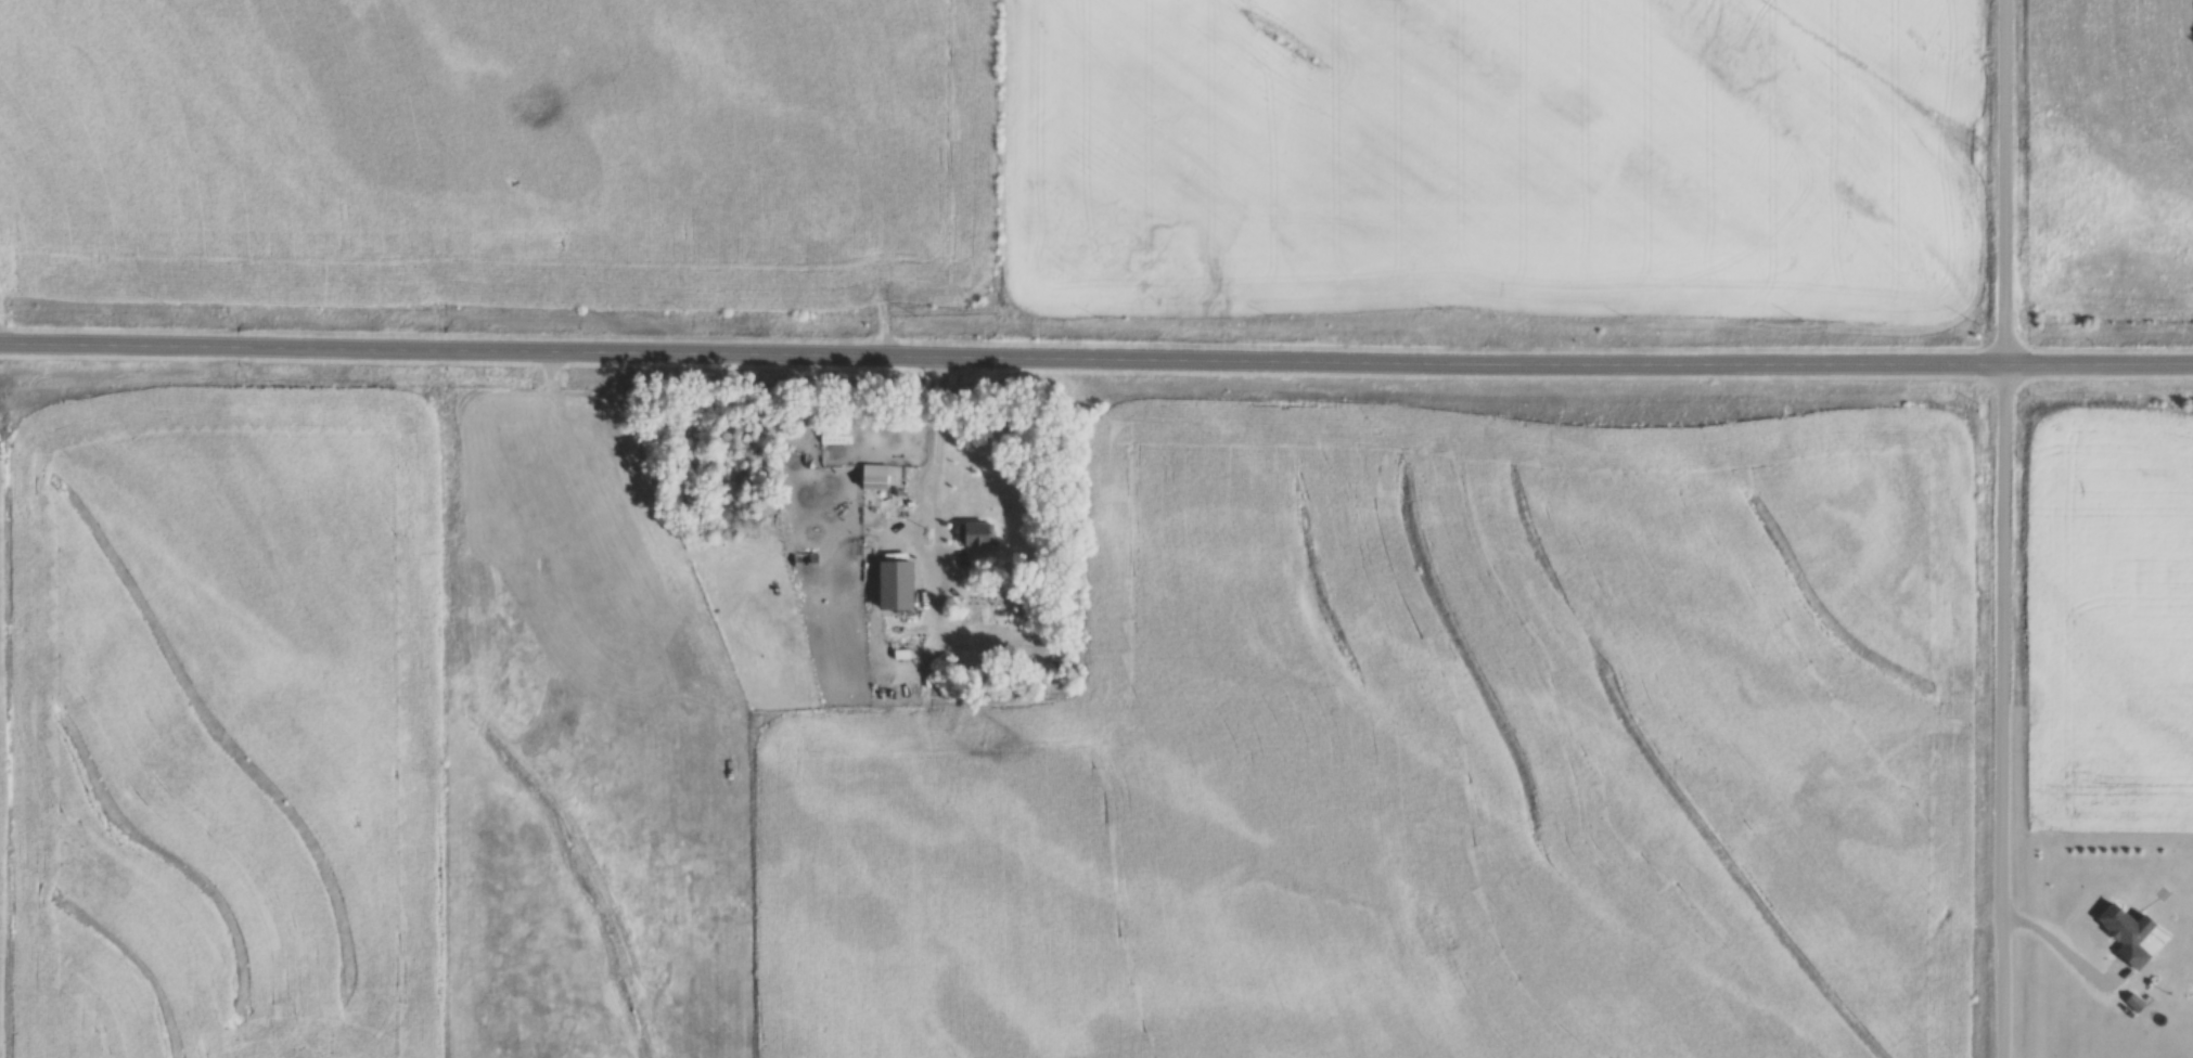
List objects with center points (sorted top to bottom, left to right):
crop: (2112, 163)
road: (1096, 354)
building: (835, 435)
building: (874, 477)
road: (933, 491)
road: (2002, 528)
building: (975, 534)
building: (806, 560)
building: (897, 586)

